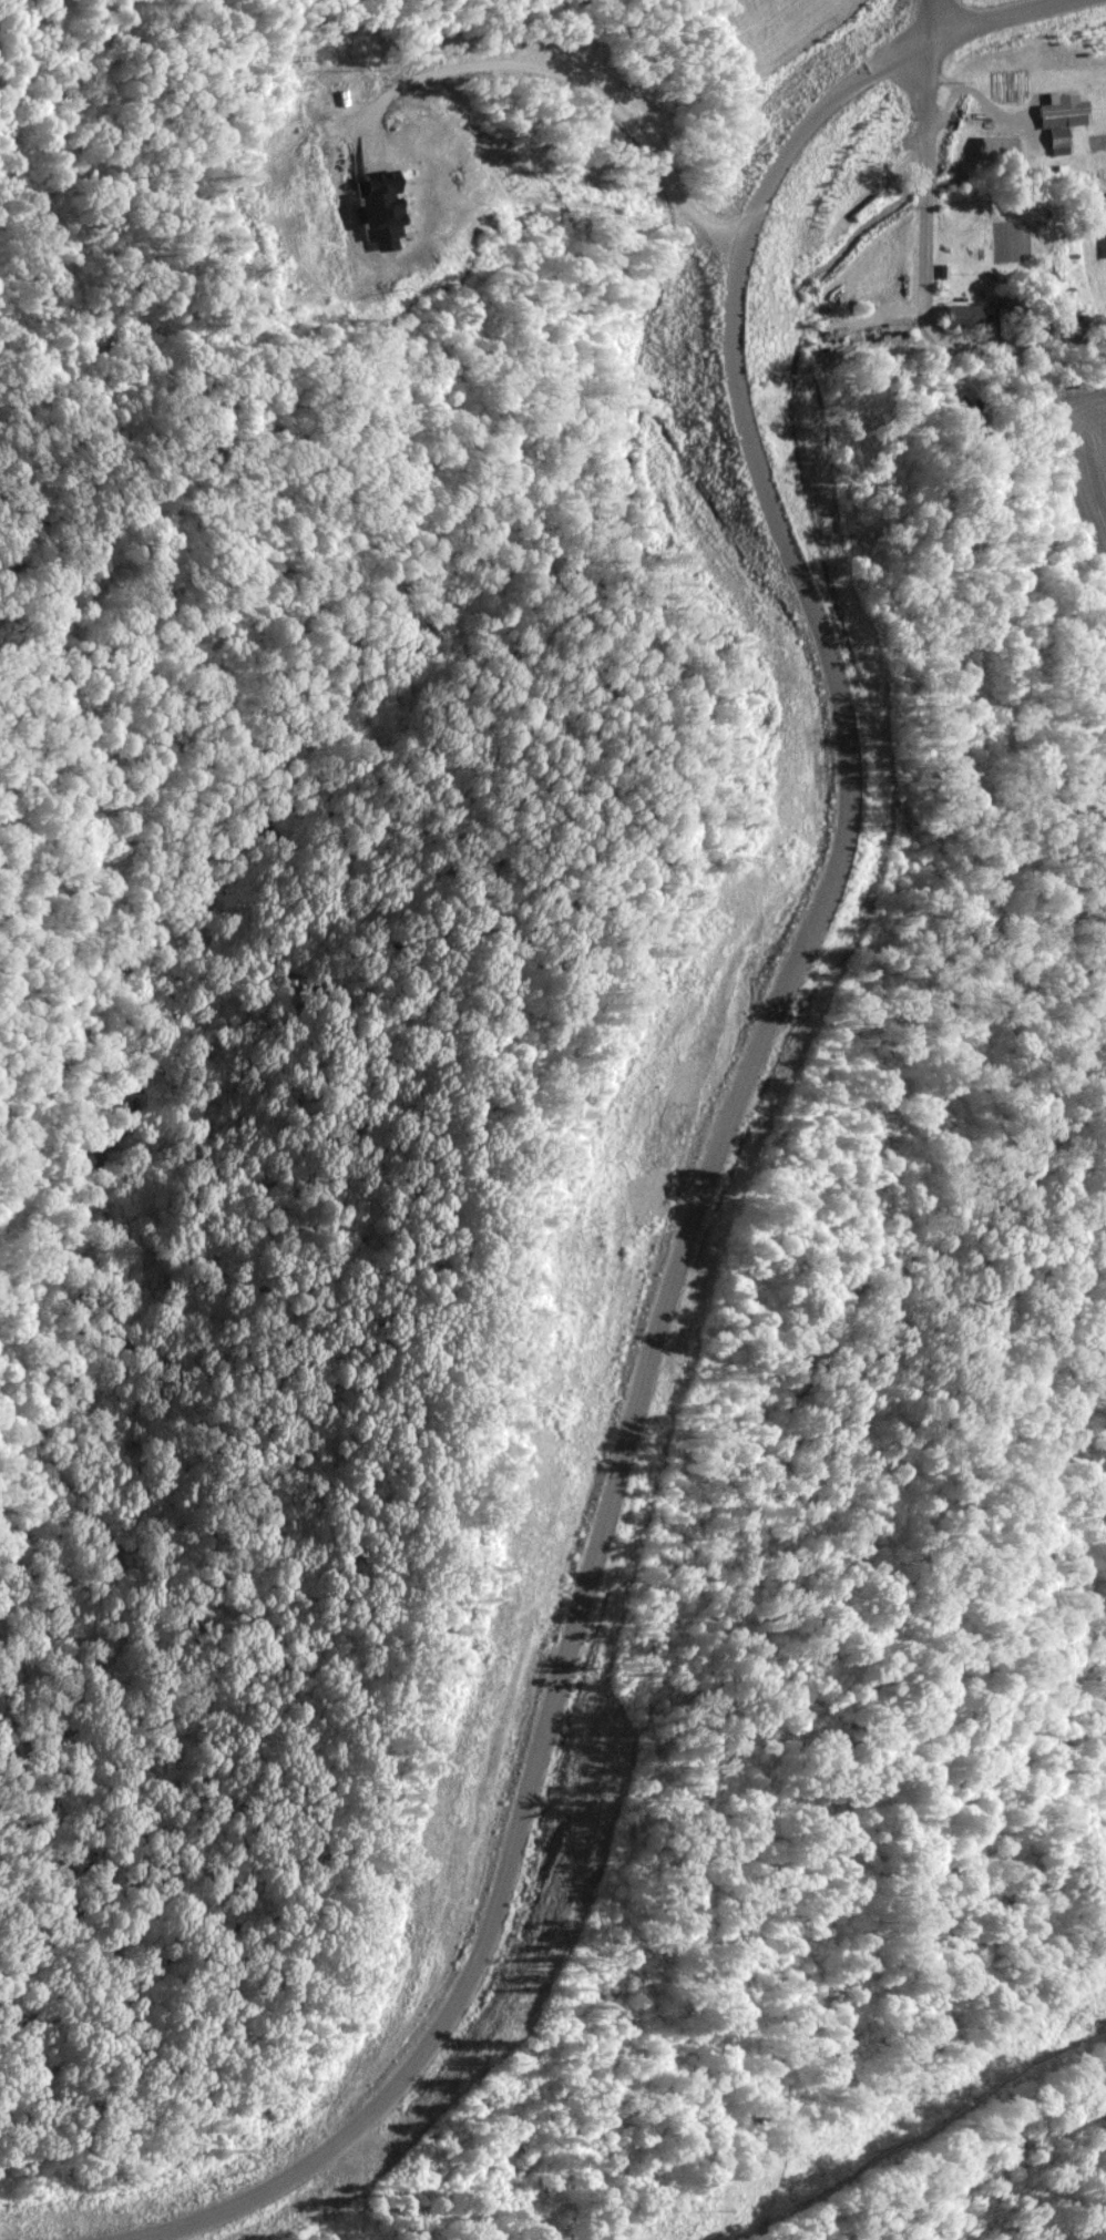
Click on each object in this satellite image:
building: (1063, 117)
building: (997, 149)
building: (1104, 236)
road: (924, 256)

